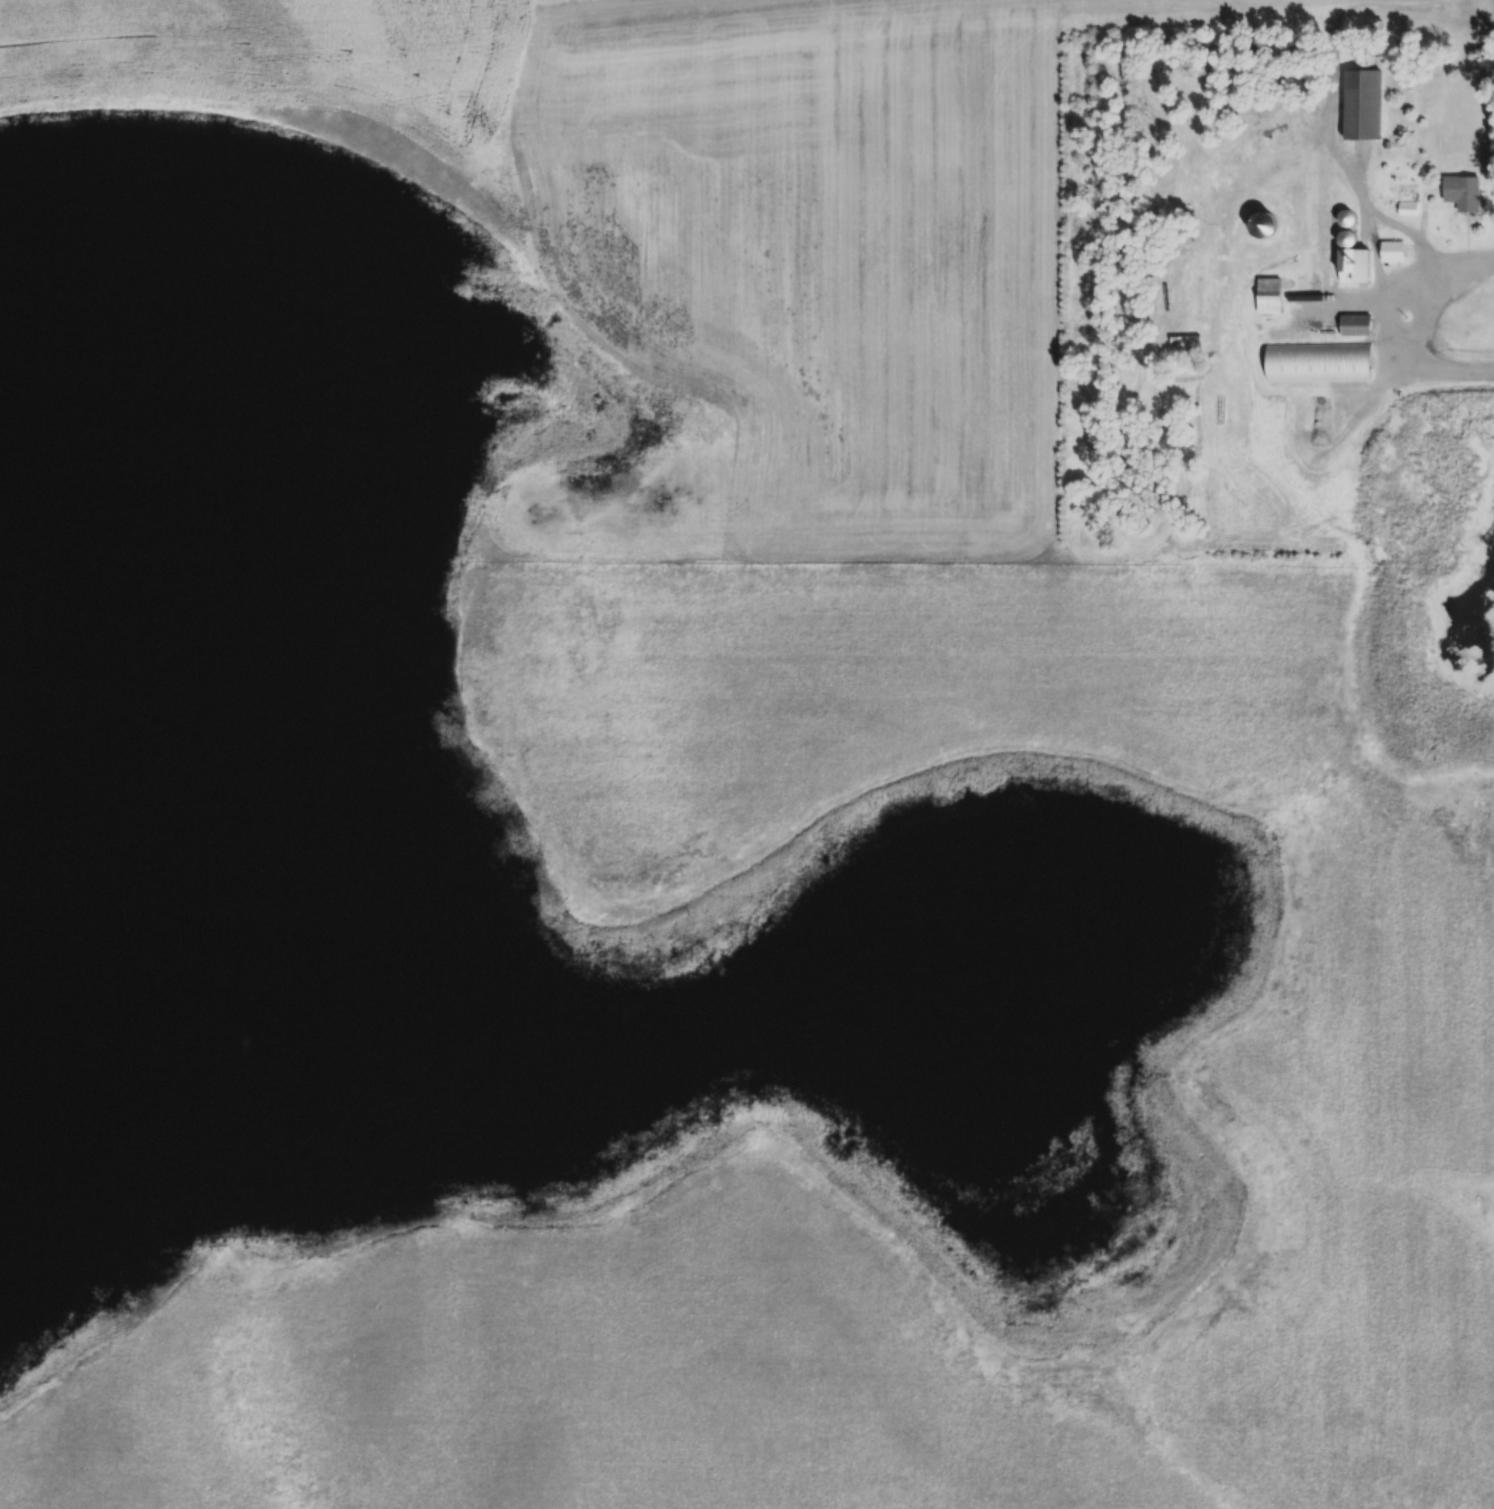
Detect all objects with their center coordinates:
building: (1363, 105)
building: (1463, 193)
building: (1346, 219)
building: (1393, 252)
building: (1355, 266)
building: (1269, 296)
building: (1356, 326)
building: (1319, 362)
building: (1319, 412)

